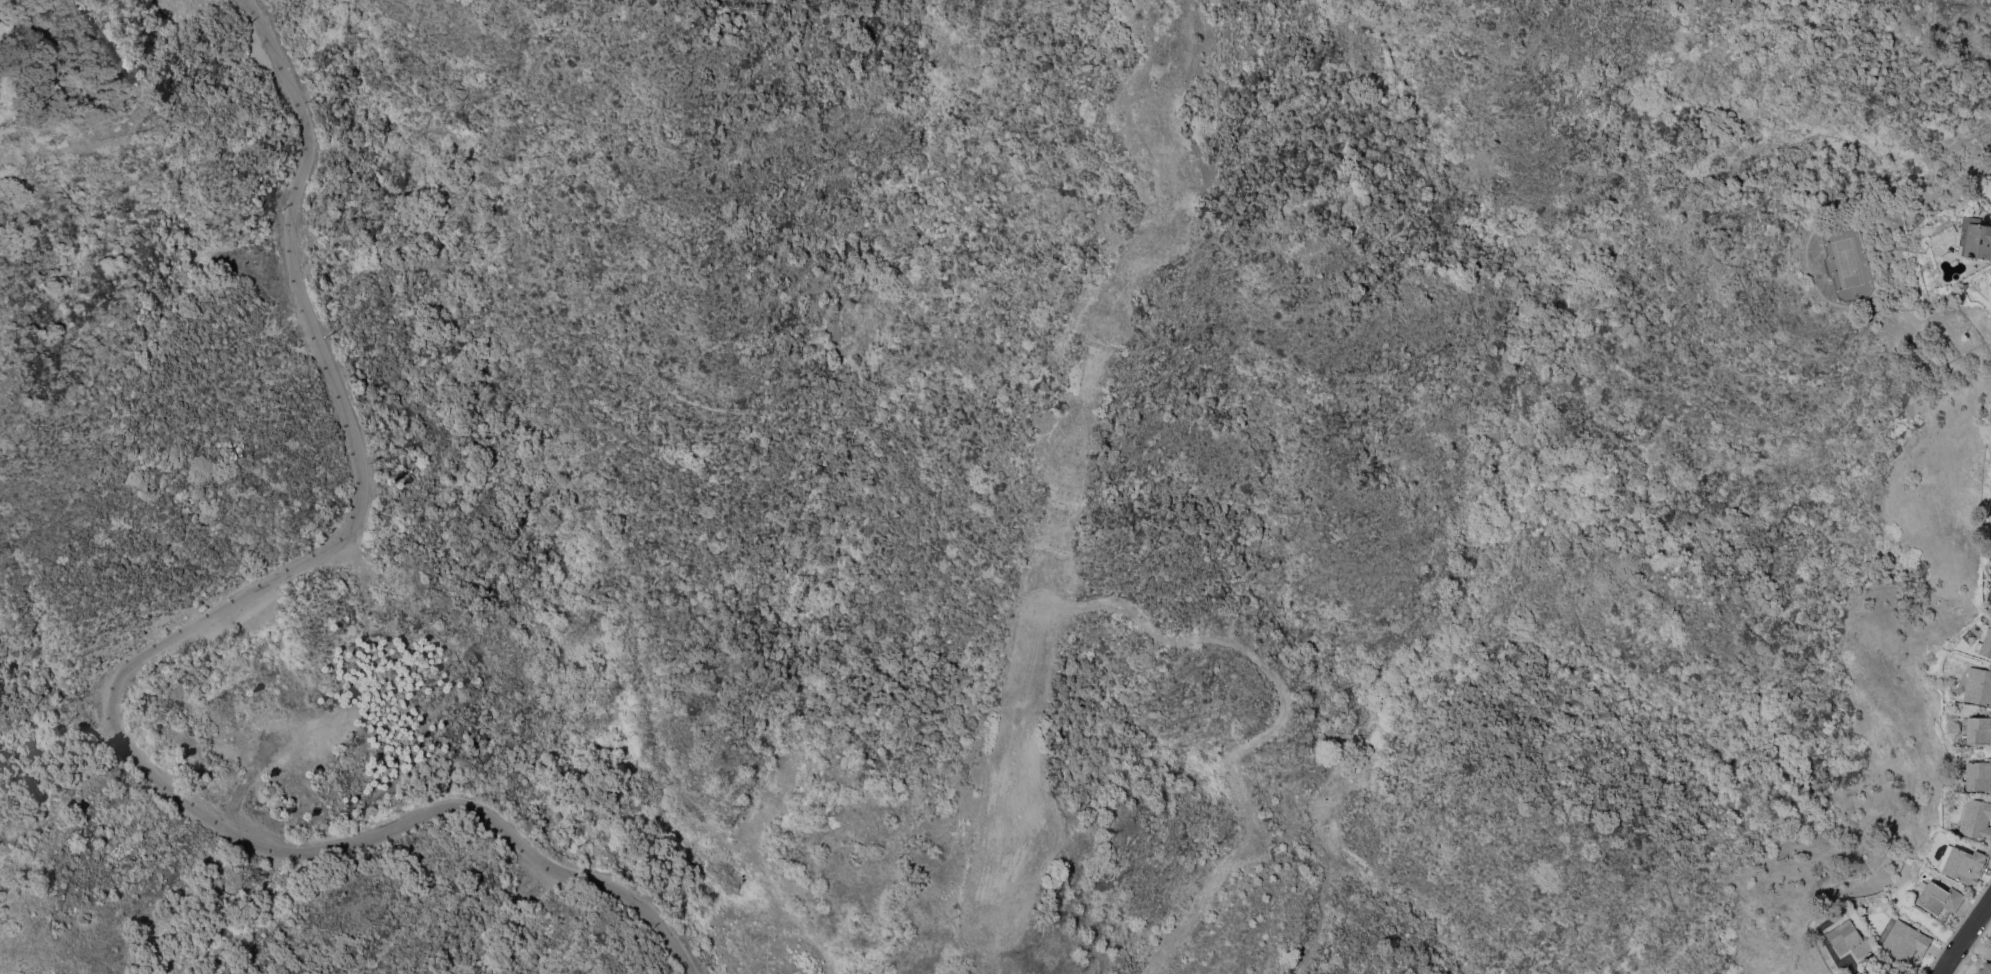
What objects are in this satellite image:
building: (6, 68)
road: (296, 102)
building: (1990, 181)
building: (1976, 238)
building: (1990, 261)
park: (1847, 262)
building: (1989, 273)
building: (1989, 505)
building: (1989, 603)
building: (1985, 645)
building: (1978, 686)
building: (1978, 730)
road: (118, 749)
building: (1978, 775)
building: (1976, 818)
building: (1963, 864)
building: (1938, 897)
road: (1965, 936)
building: (1850, 939)
road: (803, 940)
building: (1902, 940)
road: (1309, 943)
building: (1985, 968)

